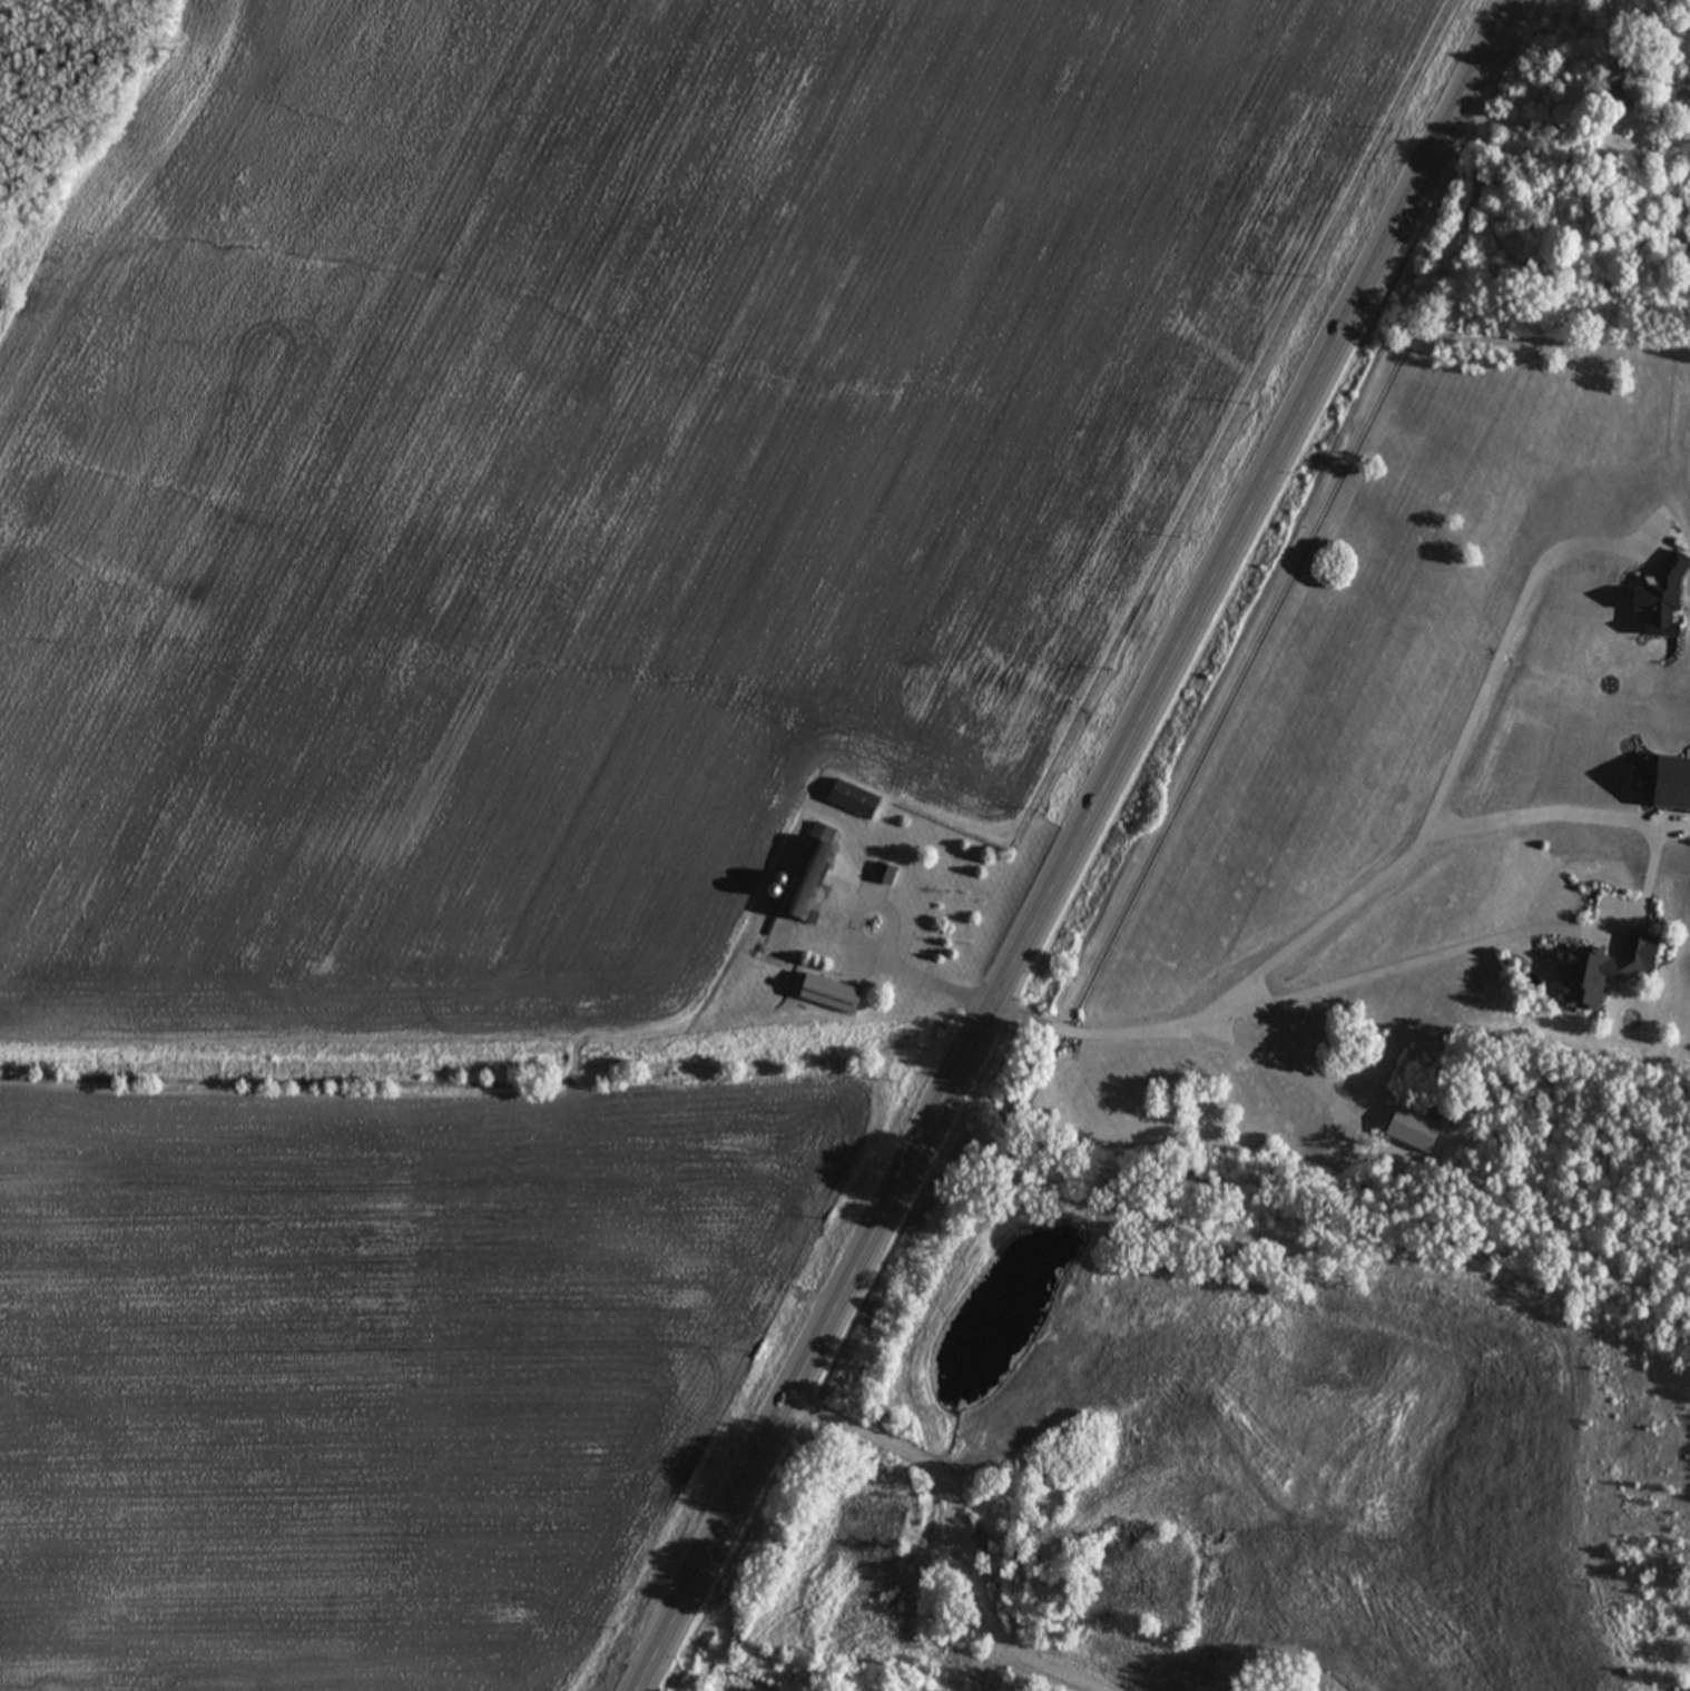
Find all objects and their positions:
building: (1611, 97)
building: (1686, 119)
building: (851, 798)
road: (1081, 845)
building: (807, 874)
building: (883, 875)
building: (1599, 972)
road: (1304, 989)
building: (826, 994)
road: (1271, 1063)

